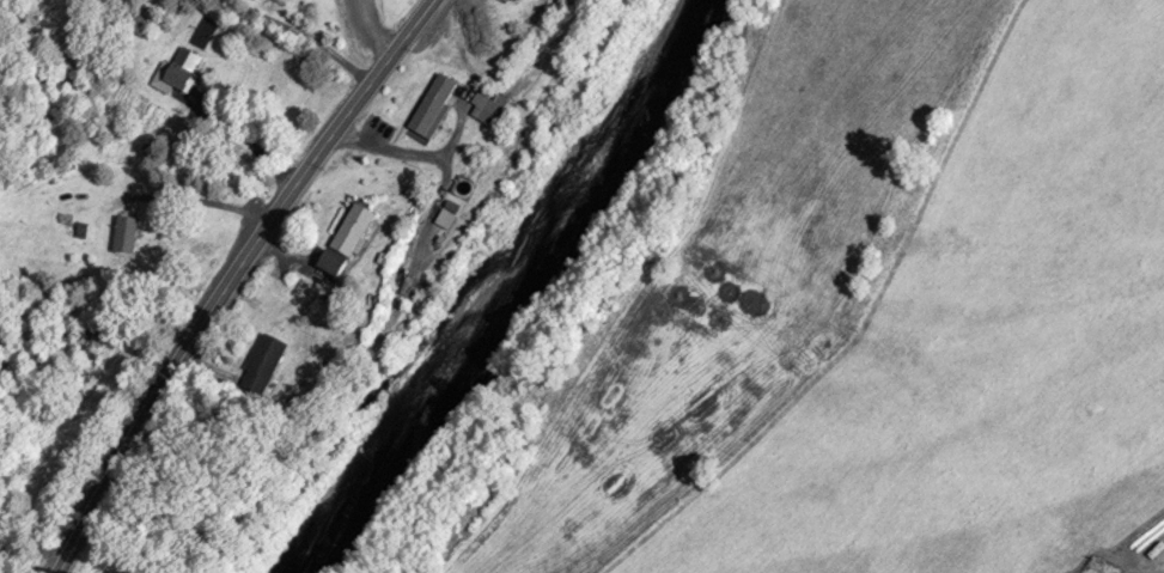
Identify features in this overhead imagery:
building: (516, 1)
building: (524, 1)
road: (371, 32)
building: (185, 71)
building: (434, 106)
building: (489, 111)
road: (200, 199)
building: (451, 215)
building: (356, 228)
building: (85, 233)
building: (127, 236)
building: (337, 264)
road: (233, 276)
river: (514, 294)
building: (87, 345)
crop: (985, 345)
building: (263, 362)

